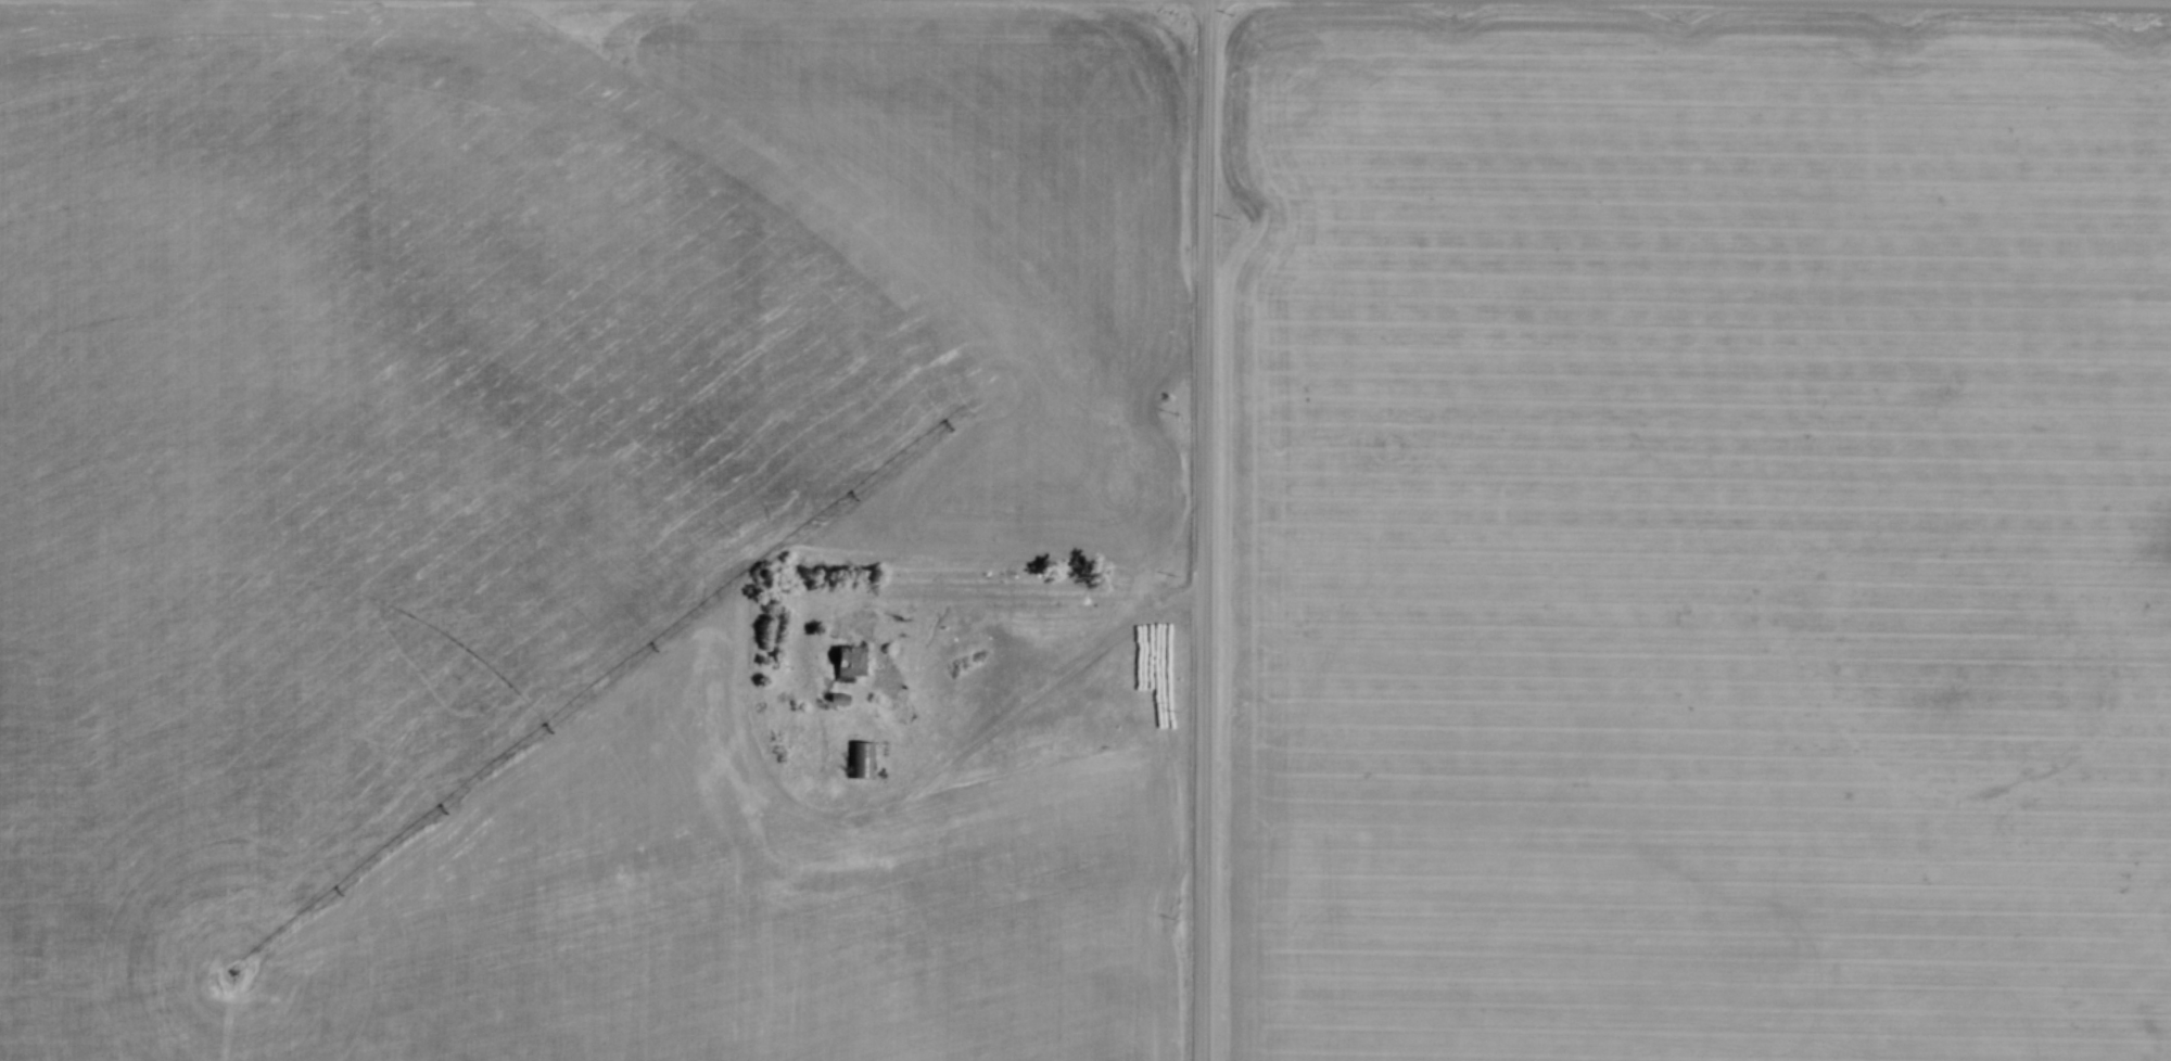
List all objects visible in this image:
road: (2097, 0)
crop: (564, 516)
road: (1208, 529)
crop: (1698, 541)
road: (851, 591)
road: (1193, 597)
building: (849, 663)
building: (838, 700)
building: (863, 757)

